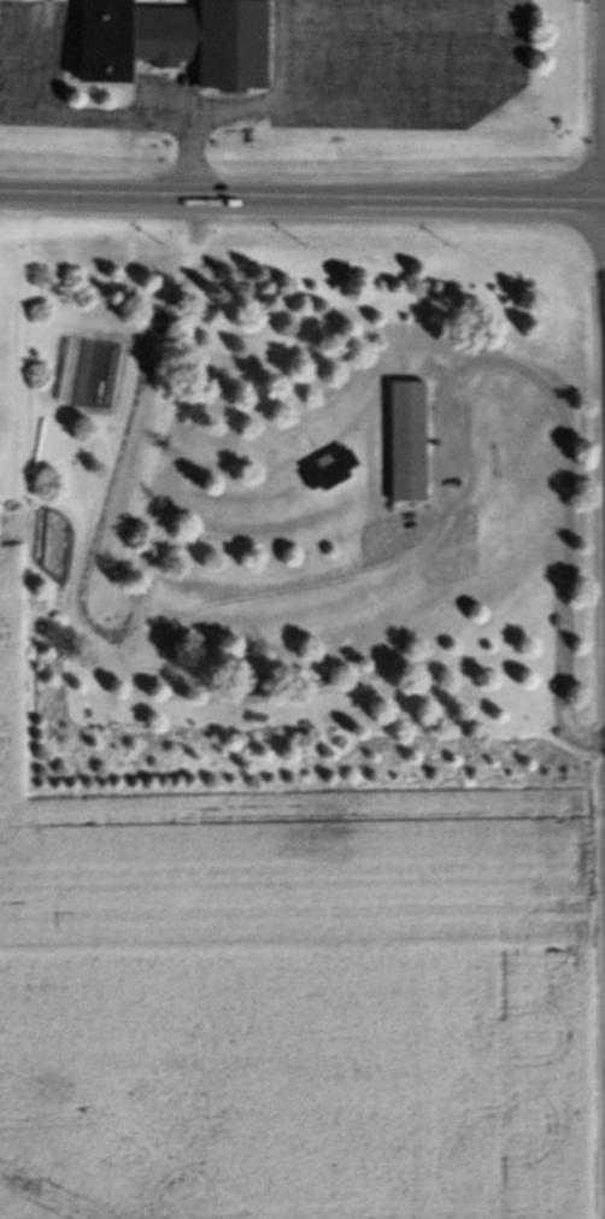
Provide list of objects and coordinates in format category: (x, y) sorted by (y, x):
road: (24, 12)
building: (171, 45)
road: (516, 48)
road: (280, 51)
road: (306, 106)
road: (105, 118)
road: (302, 198)
building: (404, 446)
building: (327, 473)
road: (562, 485)

